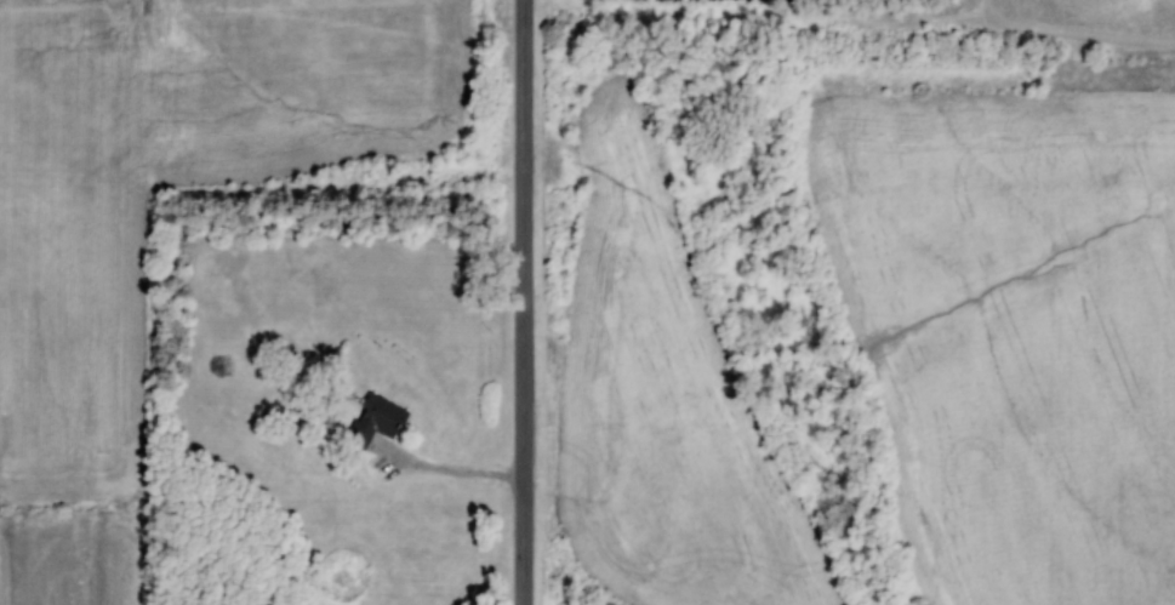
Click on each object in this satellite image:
road: (523, 302)
building: (371, 422)
road: (457, 472)

